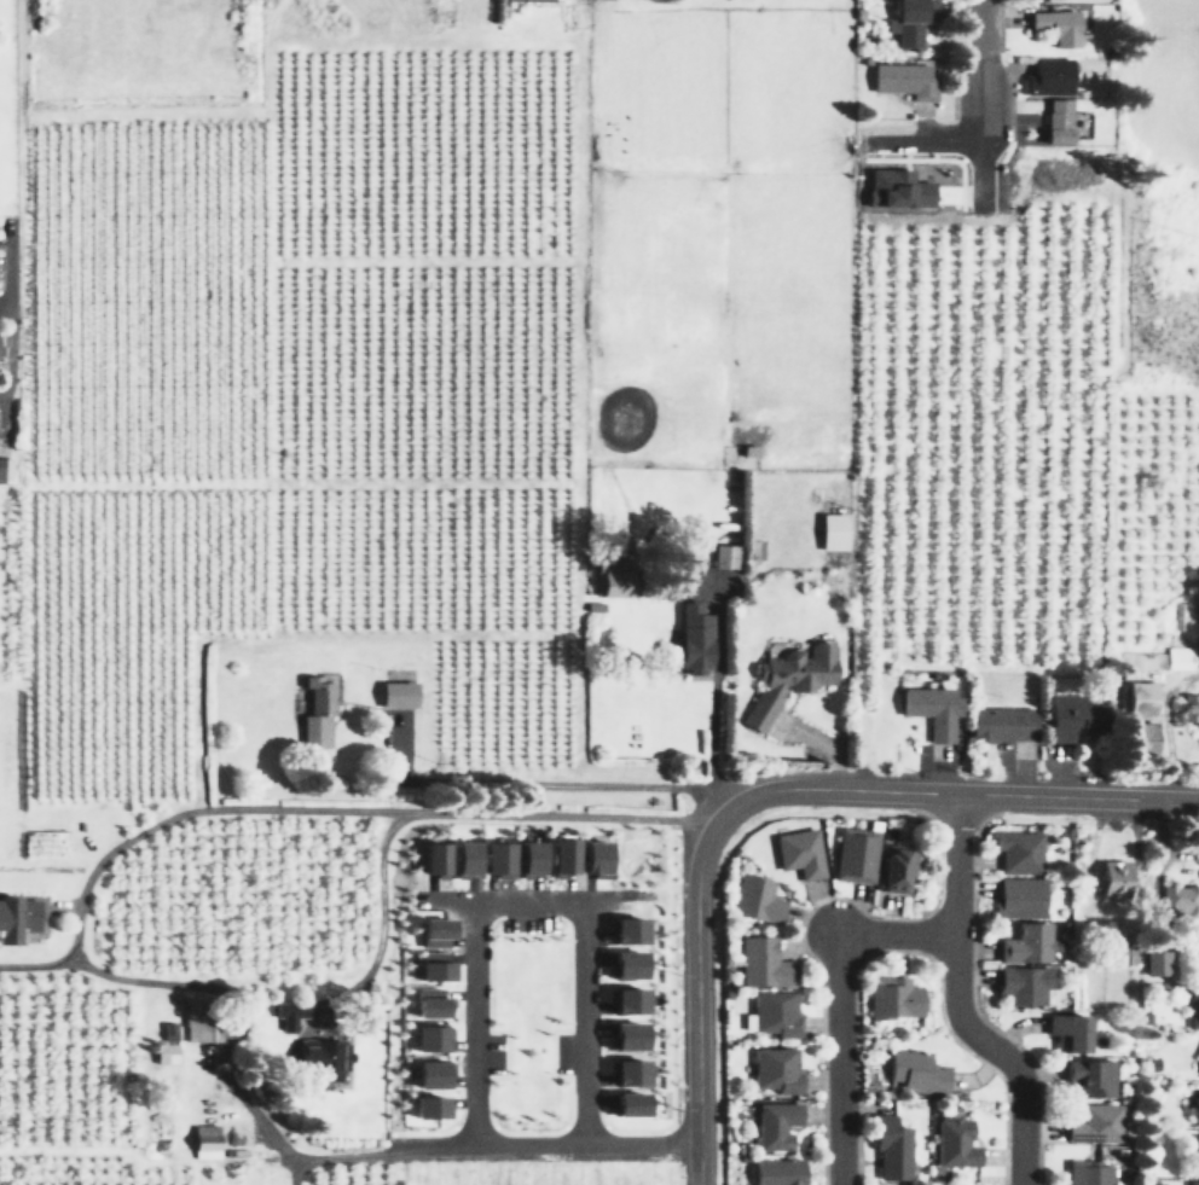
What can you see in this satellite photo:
building: (528, 0)
building: (907, 24)
building: (1055, 27)
road: (985, 59)
building: (1048, 76)
building: (903, 79)
building: (1055, 121)
building: (896, 188)
road: (21, 199)
road: (4, 307)
building: (5, 469)
building: (832, 530)
building: (723, 556)
building: (613, 575)
building: (693, 638)
building: (1177, 656)
building: (788, 679)
building: (396, 692)
building: (1139, 698)
building: (1189, 707)
building: (317, 708)
building: (932, 710)
building: (1072, 718)
building: (1002, 724)
road: (1168, 728)
building: (1140, 737)
road: (952, 792)
road: (340, 808)
road: (936, 811)
road: (1077, 815)
building: (1018, 850)
building: (799, 852)
building: (853, 854)
building: (560, 855)
building: (433, 858)
building: (527, 858)
building: (592, 858)
building: (462, 859)
building: (494, 859)
building: (894, 869)
building: (1112, 877)
building: (755, 898)
building: (1019, 898)
building: (1180, 899)
road: (532, 908)
building: (23, 913)
parking lot: (529, 922)
building: (626, 930)
building: (431, 931)
road: (801, 931)
road: (927, 934)
building: (1026, 942)
road: (911, 949)
building: (764, 962)
building: (1155, 962)
building: (625, 964)
building: (431, 965)
building: (1198, 965)
road: (27, 966)
building: (1023, 983)
building: (892, 997)
road: (697, 999)
building: (627, 1000)
building: (427, 1001)
road: (840, 1001)
road: (956, 1001)
road: (671, 1007)
building: (1193, 1007)
road: (979, 1011)
building: (288, 1012)
building: (775, 1012)
building: (195, 1020)
park: (531, 1027)
building: (1068, 1029)
building: (168, 1030)
building: (625, 1034)
building: (429, 1036)
building: (164, 1052)
parking lot: (566, 1052)
parking lot: (497, 1053)
building: (322, 1057)
building: (775, 1069)
building: (915, 1070)
building: (627, 1071)
building: (428, 1074)
building: (1091, 1076)
building: (626, 1103)
building: (427, 1106)
building: (1195, 1108)
building: (776, 1125)
building: (1095, 1125)
road: (424, 1133)
road: (532, 1133)
building: (203, 1140)
building: (954, 1143)
building: (891, 1146)
road: (486, 1154)
building: (1197, 1154)
building: (775, 1172)
building: (1089, 1173)
building: (1193, 1183)

